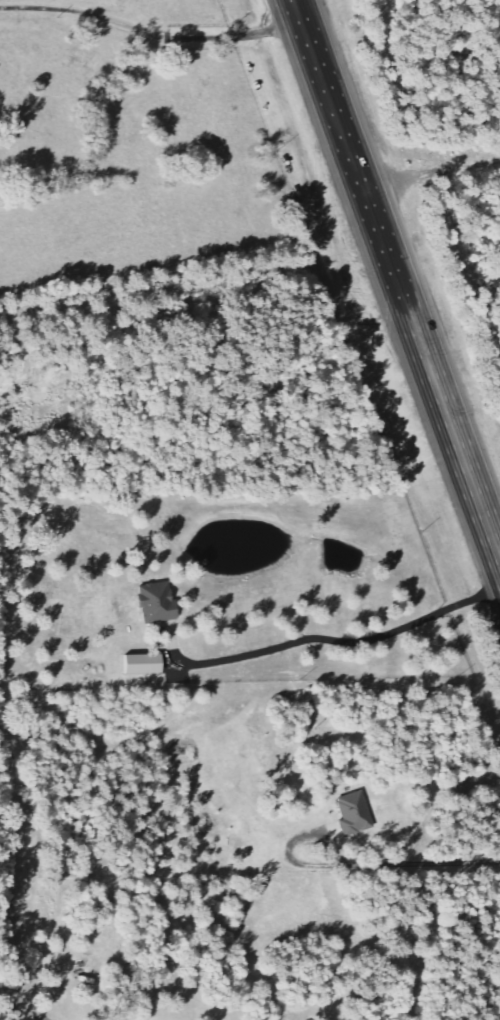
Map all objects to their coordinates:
road: (151, 33)
road: (397, 278)
building: (159, 603)
building: (146, 664)
building: (356, 813)

